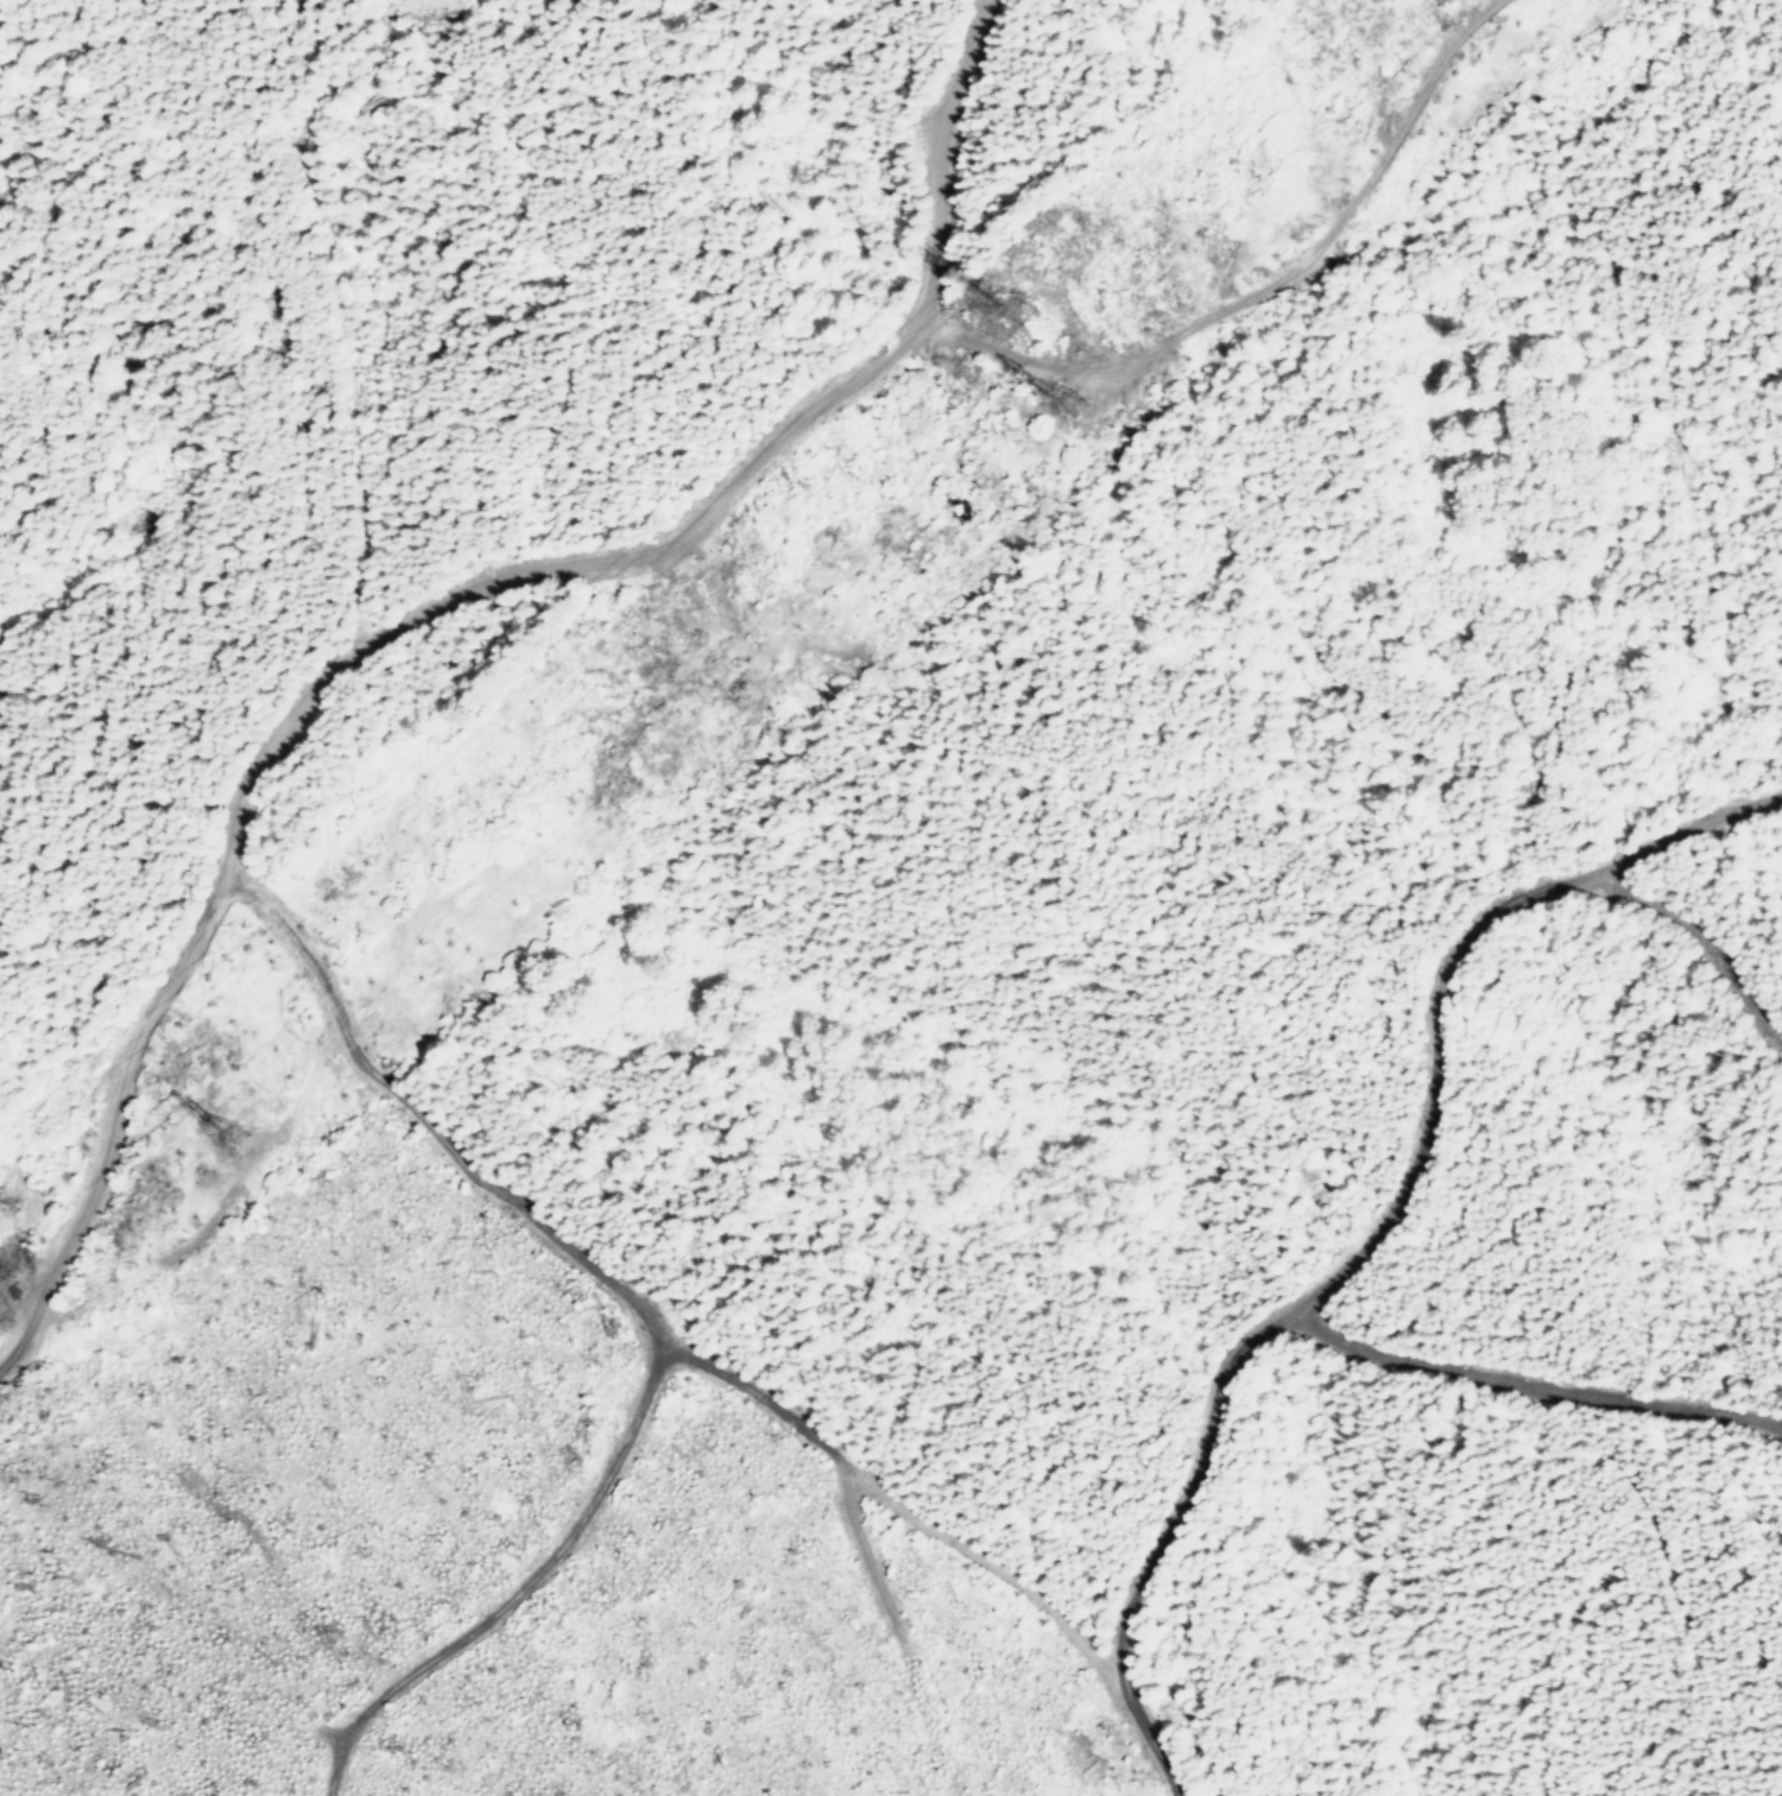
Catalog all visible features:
road: (1263, 290)
power tower: (1028, 312)
power tower: (1083, 409)
road: (438, 603)
road: (1668, 842)
power tower: (241, 1137)
road: (1391, 1226)
road: (627, 1316)

